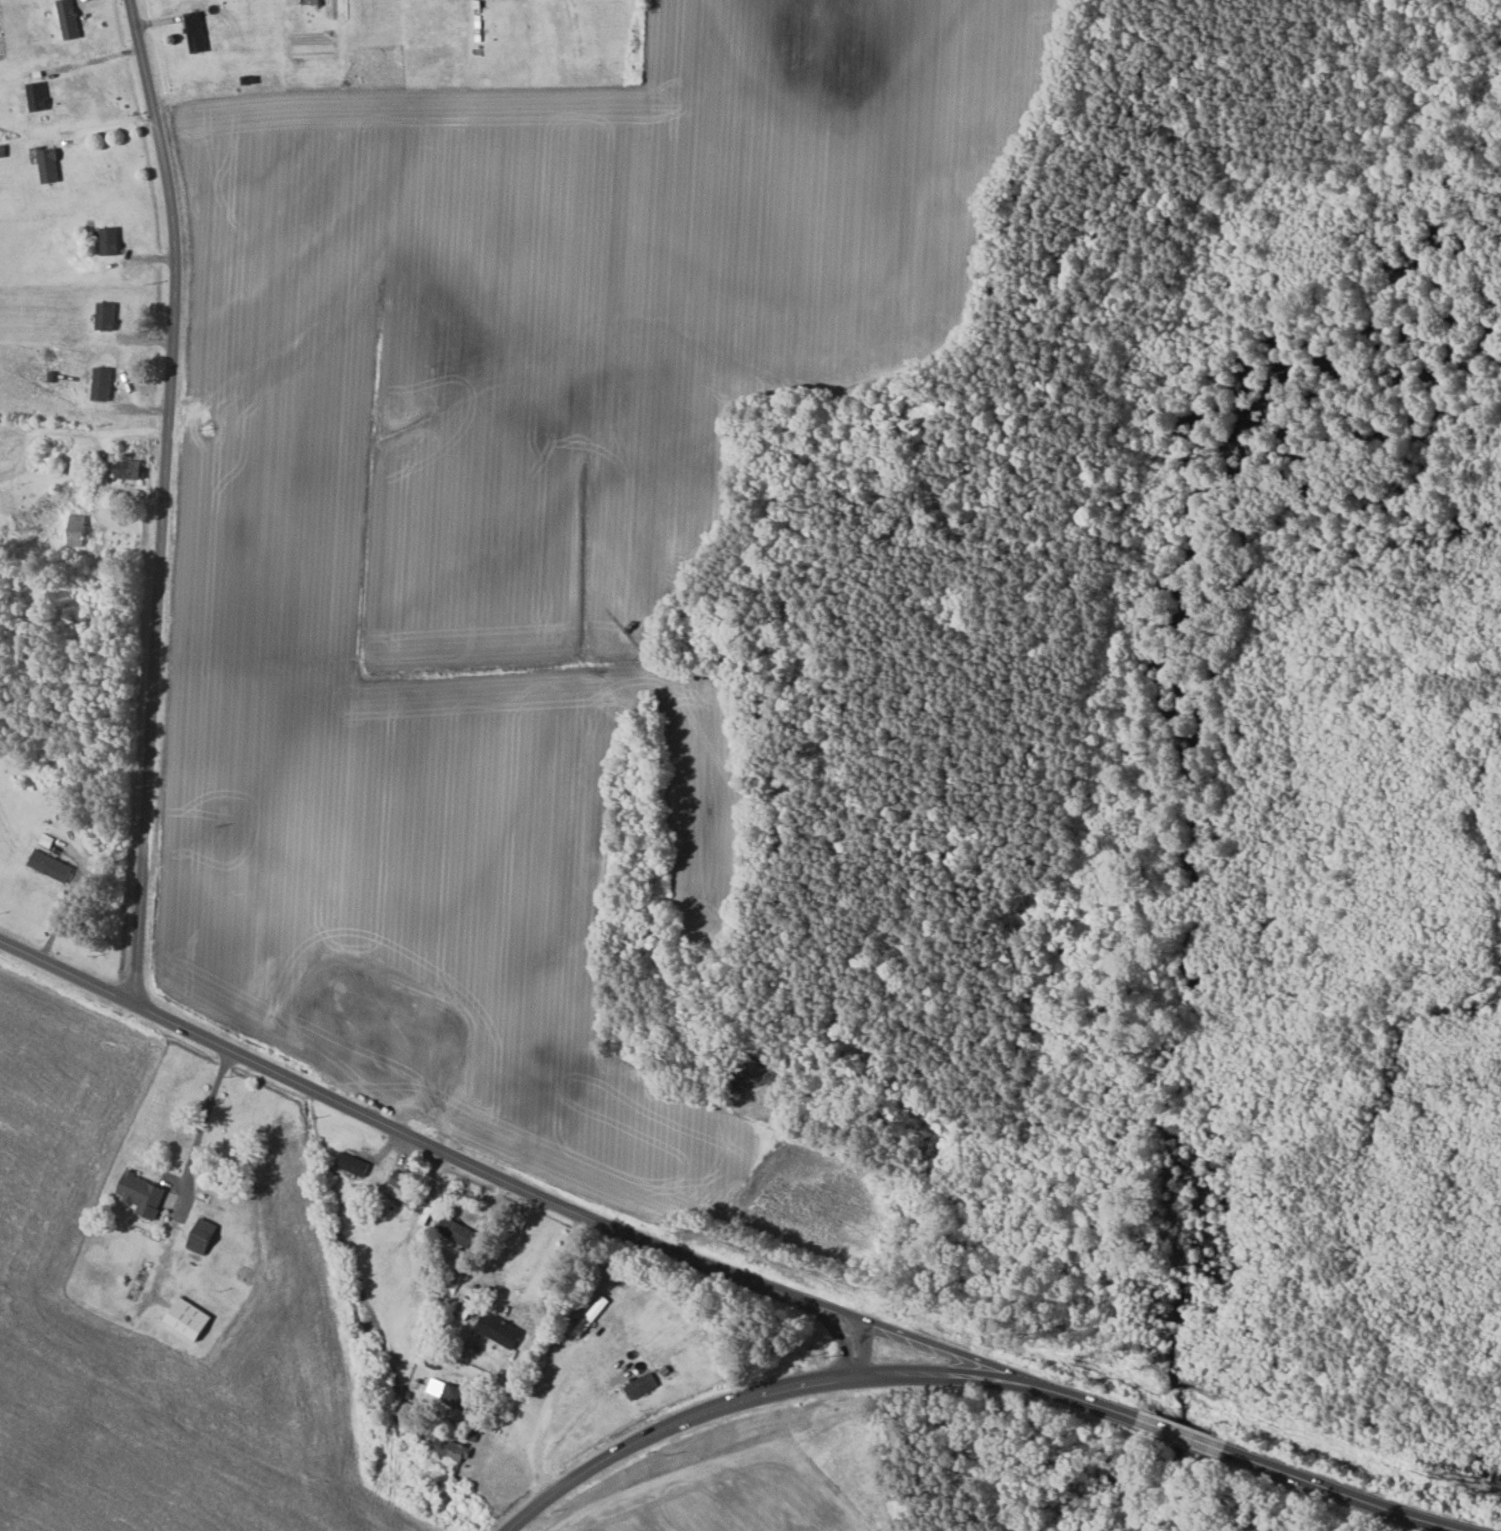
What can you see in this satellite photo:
building: (70, 19)
building: (197, 33)
road: (93, 60)
building: (38, 97)
building: (50, 165)
building: (112, 241)
building: (108, 317)
building: (104, 385)
road: (72, 431)
building: (131, 470)
road: (165, 497)
building: (77, 530)
building: (51, 865)
building: (429, 1003)
building: (378, 1051)
building: (393, 1069)
road: (204, 1114)
road: (444, 1152)
building: (353, 1164)
building: (399, 1190)
building: (144, 1194)
building: (457, 1231)
building: (204, 1236)
road: (511, 1303)
building: (464, 1308)
building: (191, 1319)
building: (500, 1330)
road: (936, 1347)
road: (813, 1381)
building: (642, 1386)
building: (452, 1394)
road: (544, 1418)
road: (572, 1423)
road: (1188, 1437)
building: (451, 1450)
road: (1344, 1493)

